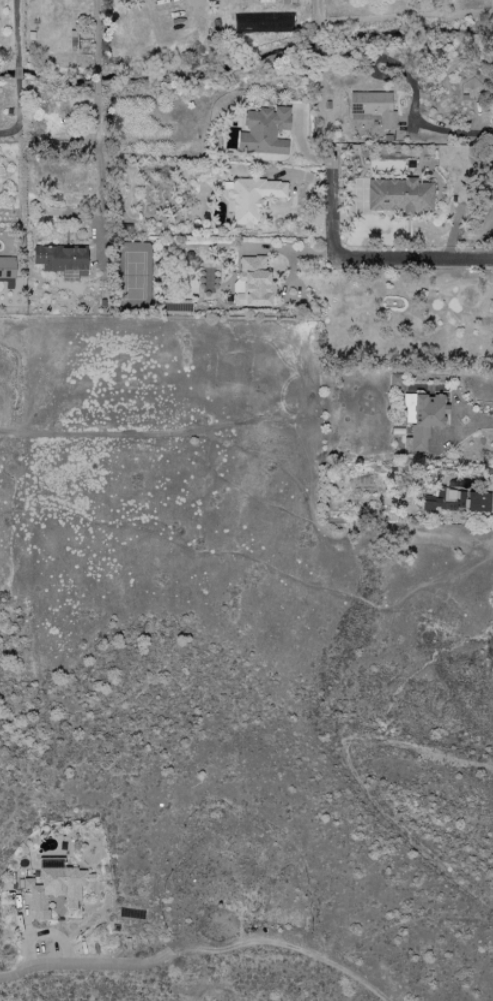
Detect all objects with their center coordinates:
road: (394, 17)
road: (98, 70)
road: (17, 73)
building: (372, 106)
building: (263, 131)
road: (449, 132)
road: (99, 183)
road: (330, 185)
building: (398, 195)
building: (248, 197)
road: (413, 259)
building: (60, 260)
building: (6, 271)
building: (251, 282)
building: (393, 379)
building: (421, 418)
building: (444, 499)
building: (477, 501)
building: (53, 886)
road: (283, 946)
road: (84, 965)

